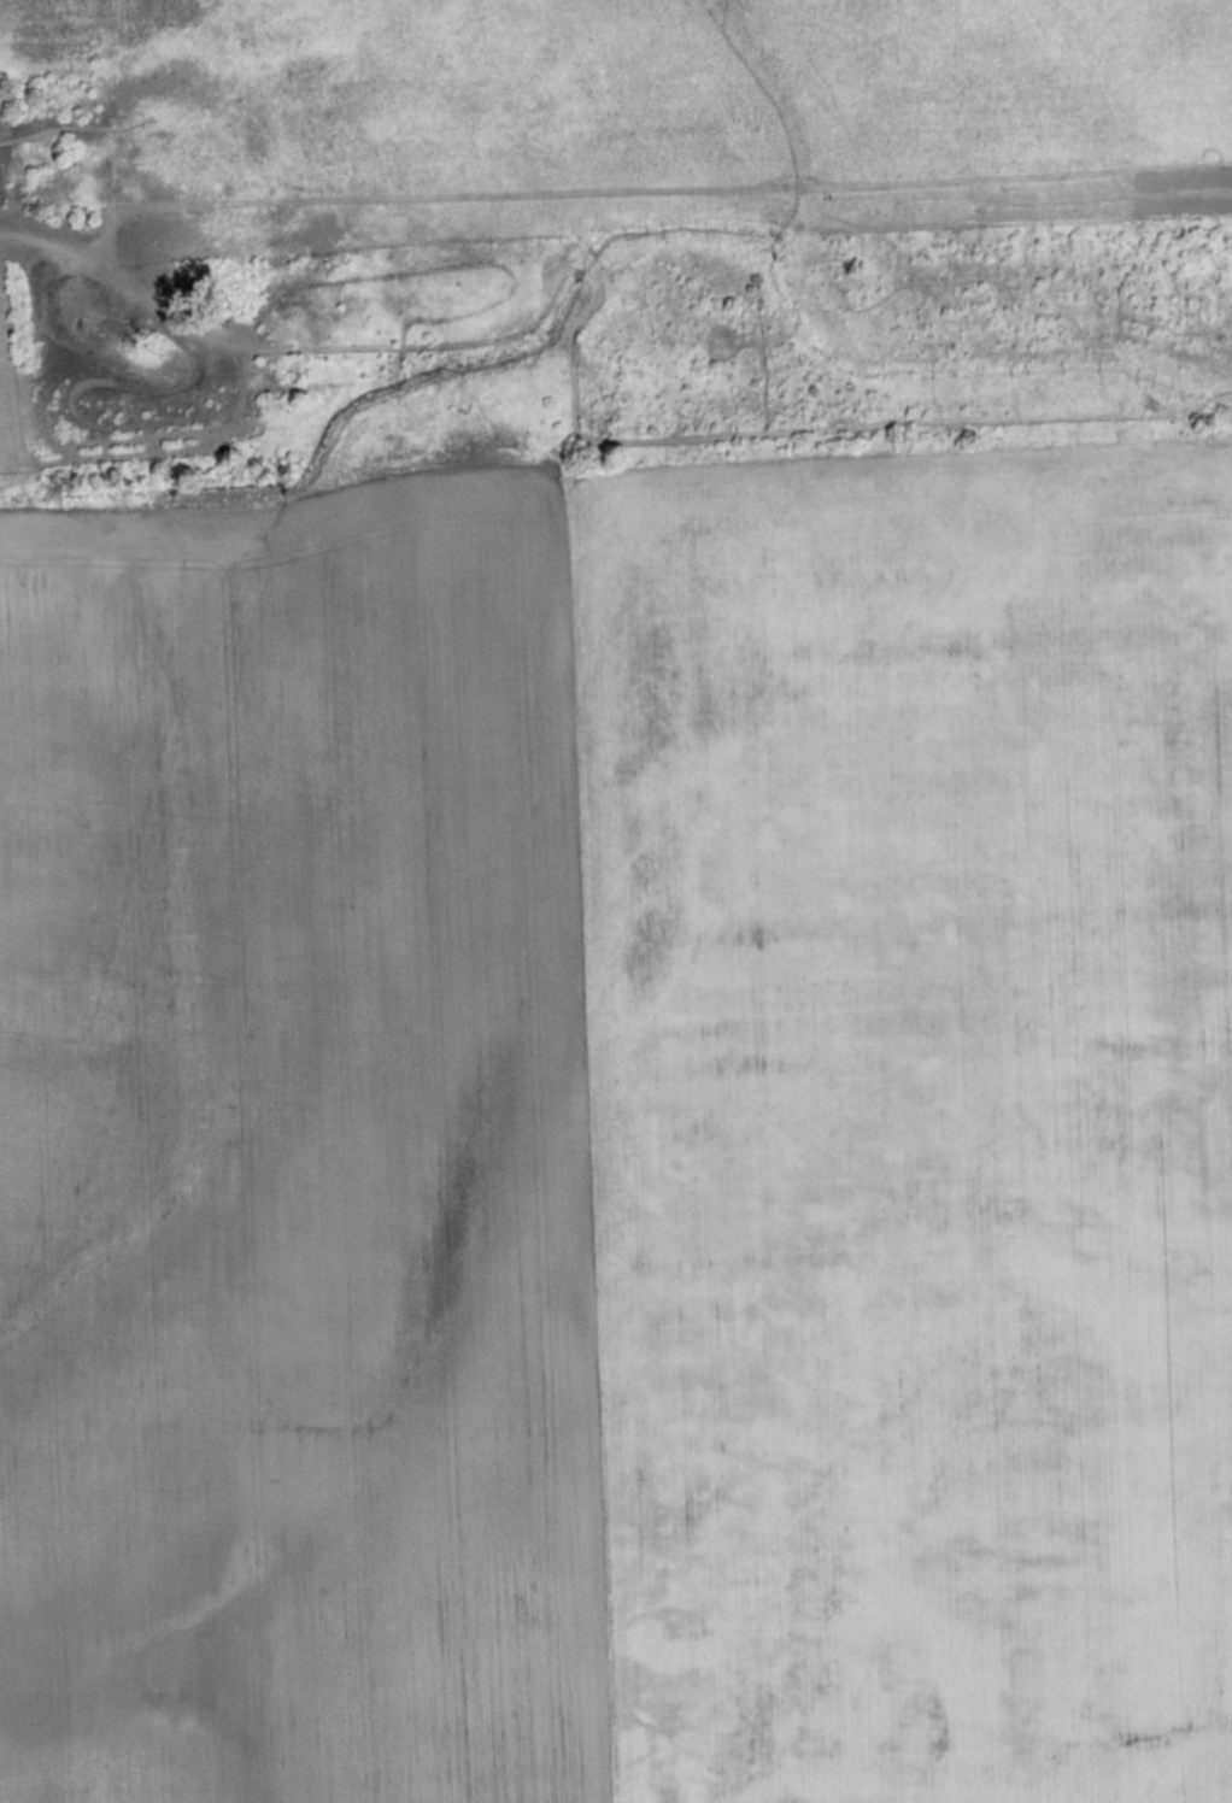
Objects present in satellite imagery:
crop: (620, 1130)

